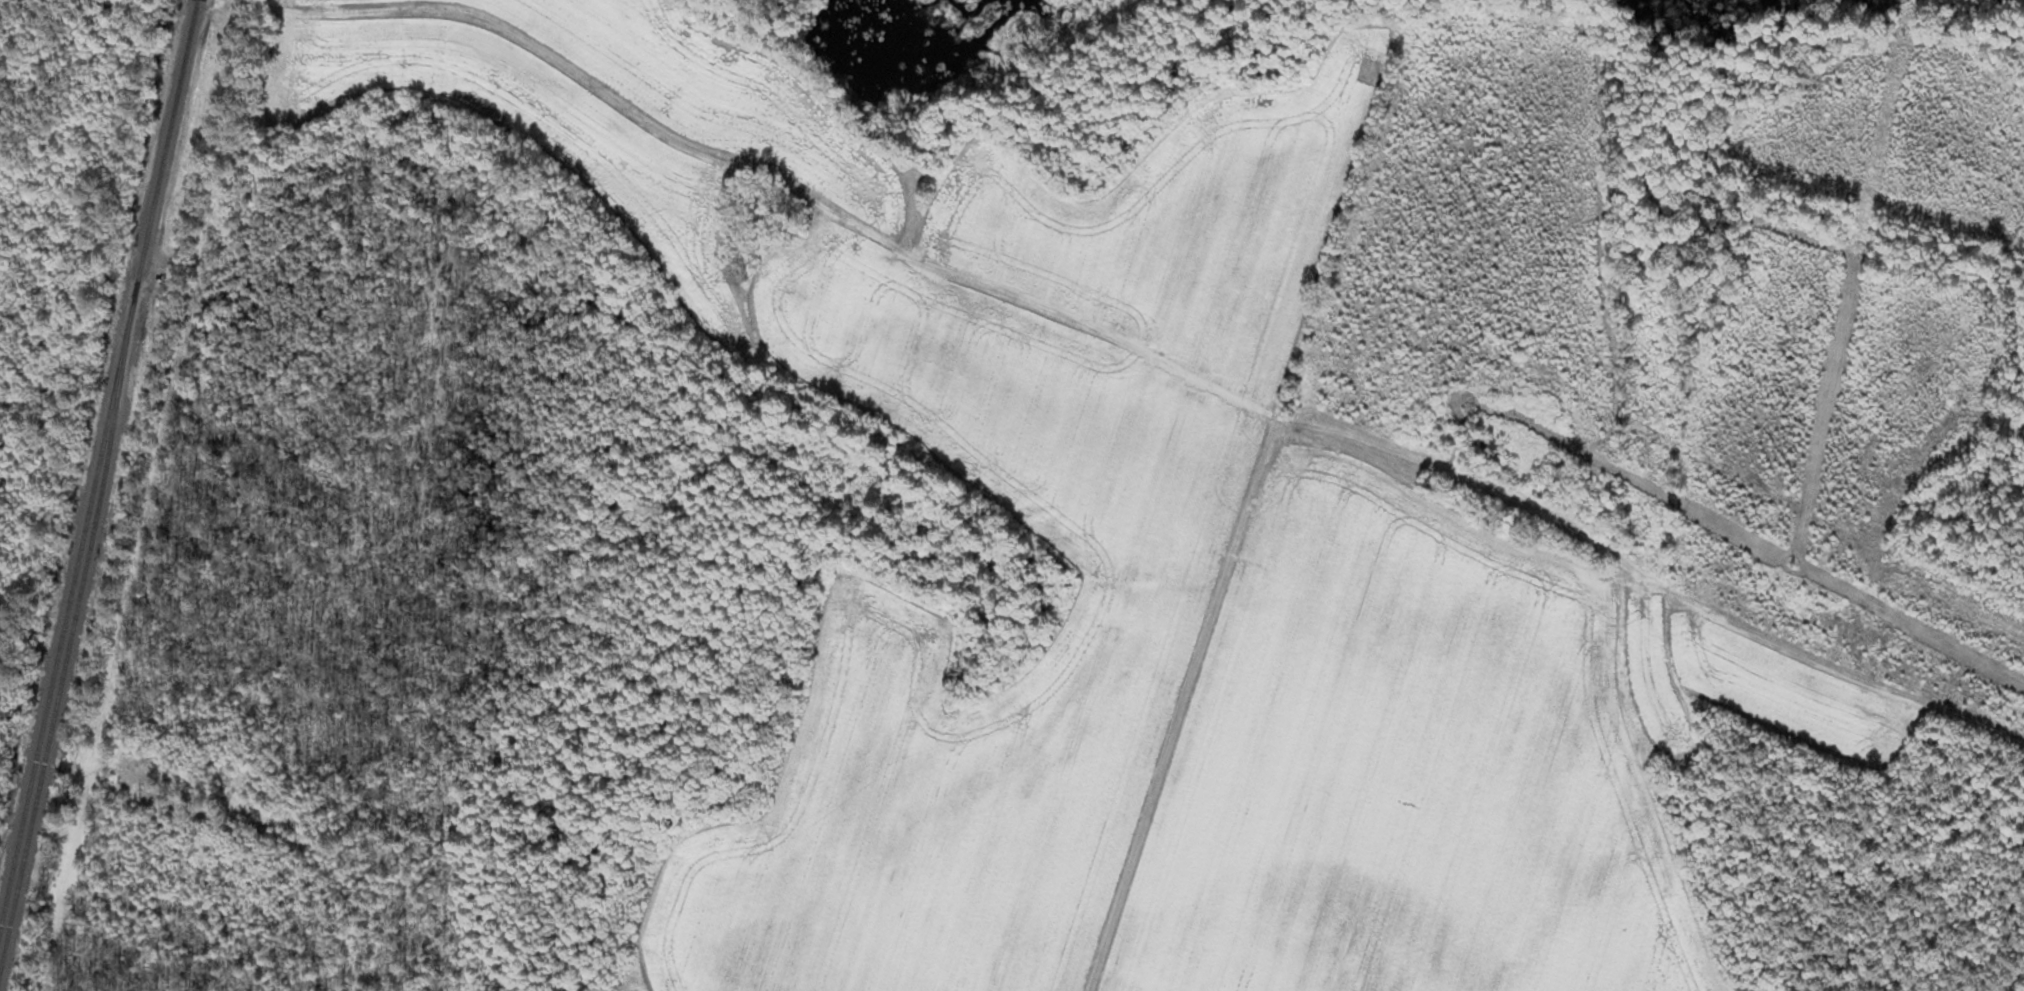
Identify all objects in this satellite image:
railway: (168, 140)
road: (1115, 384)
building: (1484, 445)
building: (1430, 481)
railway: (68, 606)
railway: (73, 629)
road: (1176, 723)

